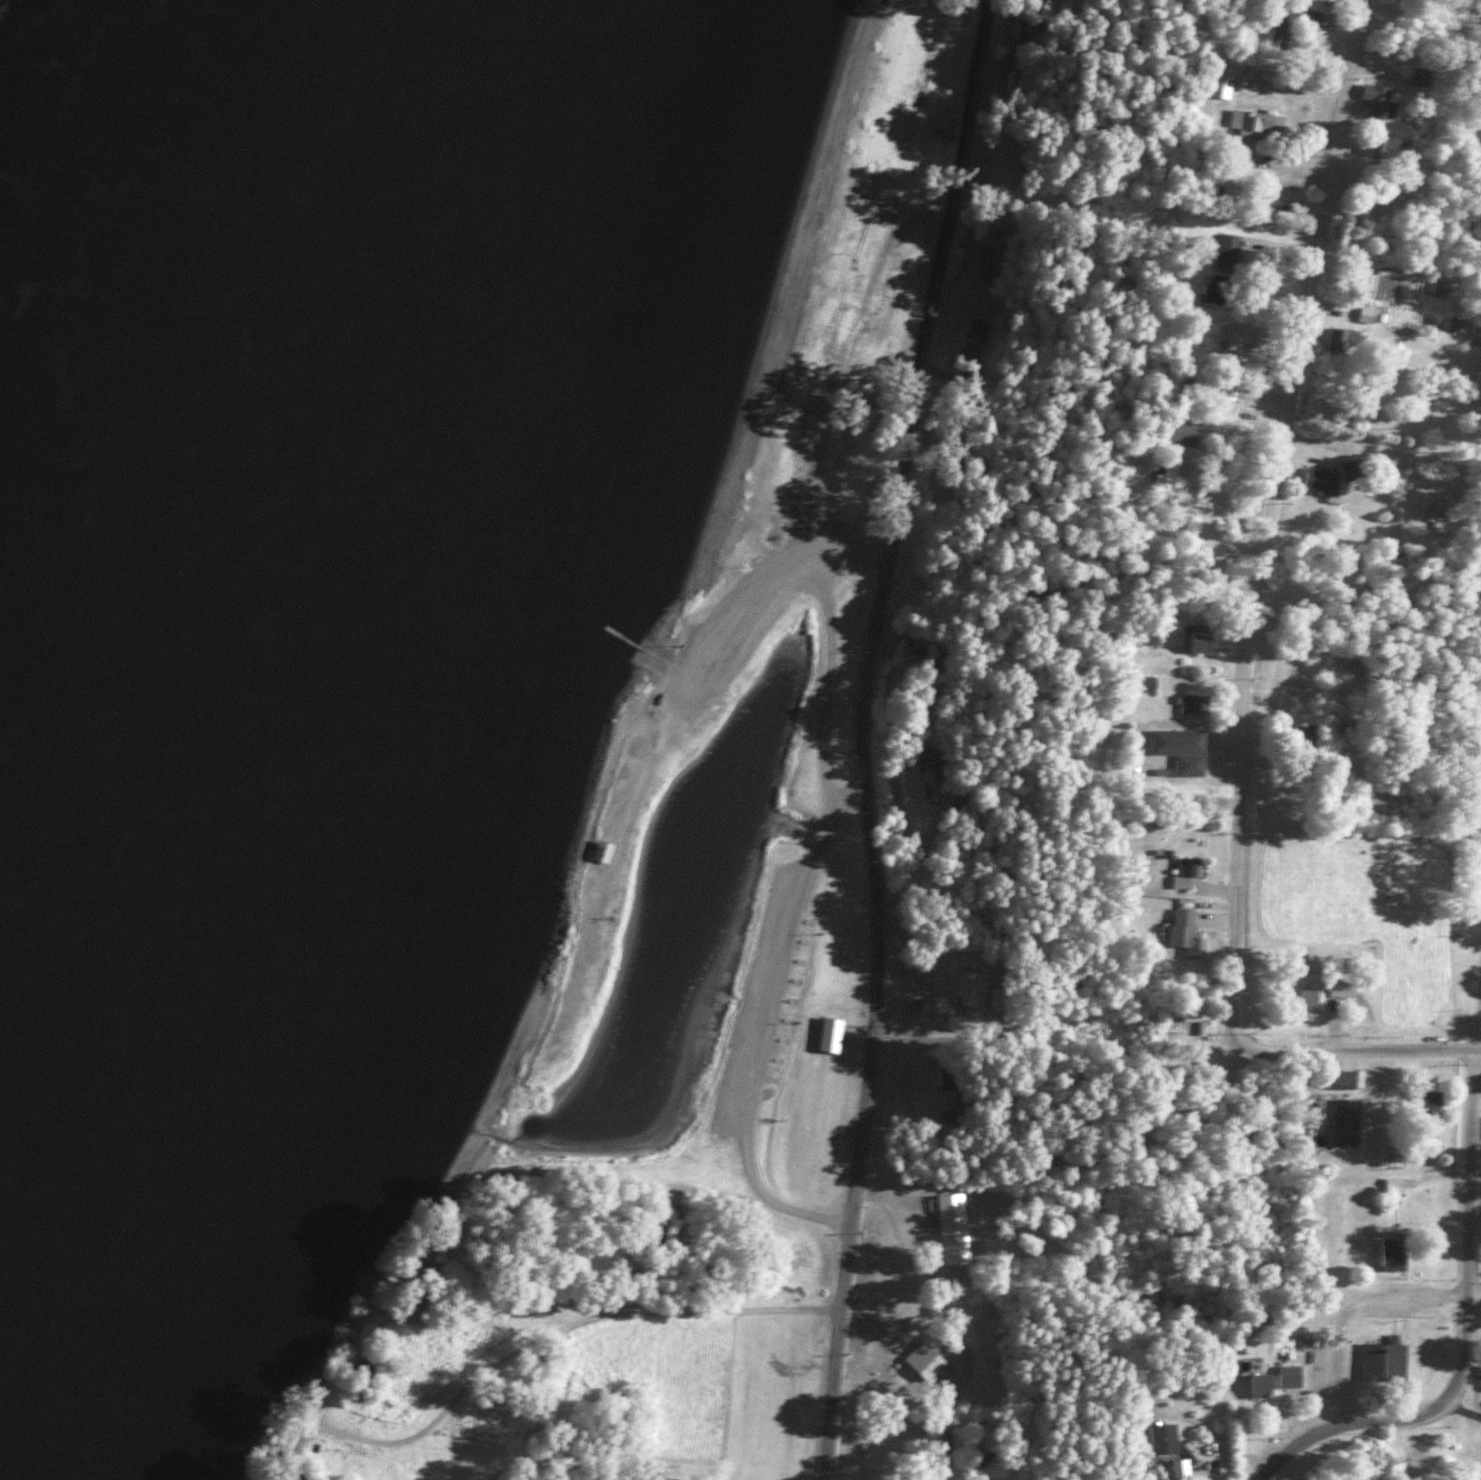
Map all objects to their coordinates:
building: (1279, 22)
river: (52, 86)
building: (1376, 99)
building: (1254, 126)
building: (1387, 147)
building: (1228, 251)
building: (982, 265)
building: (1434, 287)
building: (1218, 289)
building: (1448, 324)
building: (1241, 334)
building: (1343, 340)
building: (875, 341)
building: (1226, 386)
building: (1182, 432)
building: (1323, 481)
road: (1266, 516)
building: (1434, 516)
road: (824, 553)
building: (916, 594)
building: (1200, 642)
building: (930, 653)
building: (1192, 705)
road: (818, 724)
building: (1306, 733)
road: (864, 736)
building: (638, 746)
building: (1181, 749)
building: (927, 758)
road: (849, 795)
building: (602, 852)
building: (1189, 867)
building: (1184, 929)
building: (971, 990)
building: (995, 1002)
building: (1312, 1004)
road: (1352, 1057)
building: (1341, 1080)
building: (1430, 1098)
building: (954, 1110)
building: (1345, 1122)
road: (1469, 1143)
building: (1394, 1253)
building: (950, 1256)
road: (552, 1295)
road: (1429, 1297)
building: (1383, 1362)
building: (1290, 1375)
building: (1260, 1384)
road: (1371, 1415)
building: (920, 1426)
building: (1163, 1438)
building: (987, 1456)
road: (1274, 1456)
building: (293, 1475)

